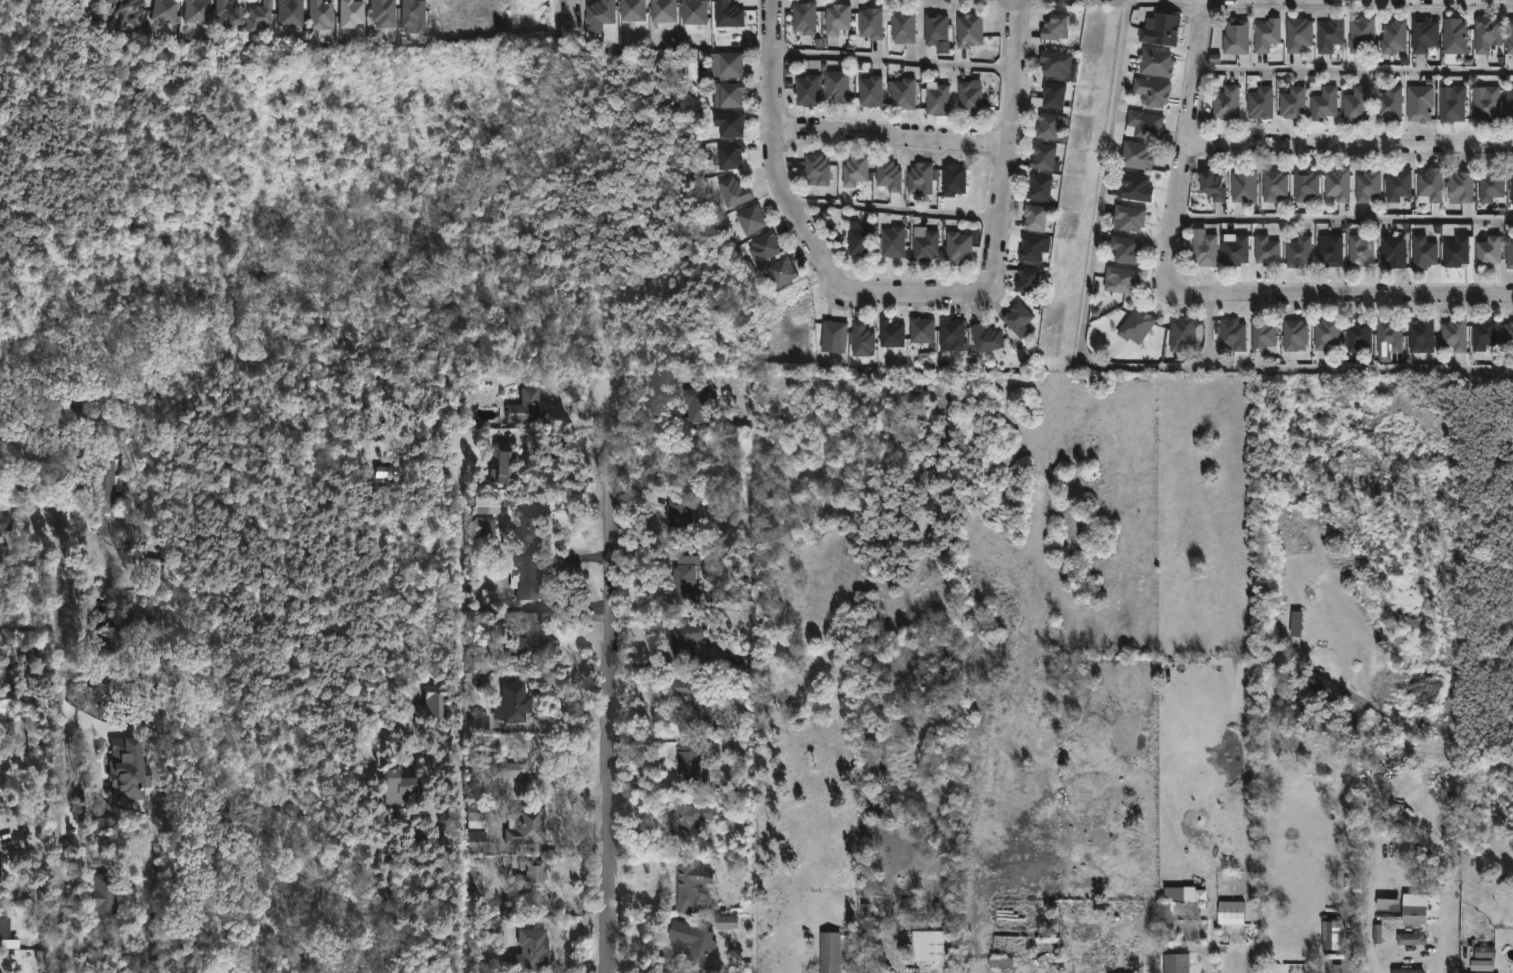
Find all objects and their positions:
building: (100, 1)
building: (115, 1)
building: (380, 10)
building: (632, 10)
building: (662, 10)
building: (201, 11)
building: (169, 12)
building: (291, 12)
building: (600, 12)
building: (693, 12)
building: (135, 13)
building: (233, 13)
building: (348, 13)
road: (571, 13)
building: (319, 15)
building: (412, 15)
building: (728, 15)
building: (264, 17)
building: (803, 18)
building: (837, 19)
building: (870, 24)
building: (903, 28)
building: (935, 28)
building: (1054, 28)
building: (1160, 30)
building: (968, 31)
building: (1487, 34)
building: (1266, 35)
building: (1298, 35)
building: (1361, 35)
building: (1424, 35)
building: (1330, 36)
building: (1235, 37)
building: (1455, 37)
building: (1510, 37)
building: (1394, 38)
road: (892, 60)
building: (1156, 63)
building: (1054, 64)
building: (727, 65)
road: (1356, 70)
building: (836, 87)
building: (806, 92)
building: (871, 92)
building: (1152, 92)
building: (727, 93)
building: (903, 94)
building: (1053, 95)
building: (969, 99)
building: (937, 101)
building: (1261, 103)
building: (1293, 103)
building: (1226, 104)
building: (1323, 104)
building: (1420, 104)
building: (1487, 104)
building: (1389, 105)
building: (1357, 106)
building: (1454, 106)
building: (1509, 106)
building: (1143, 124)
building: (730, 125)
building: (1048, 127)
road: (891, 137)
road: (1191, 146)
road: (1009, 148)
road: (1351, 151)
building: (1137, 156)
building: (729, 157)
building: (1043, 157)
building: (816, 171)
building: (854, 172)
building: (888, 176)
building: (919, 178)
building: (953, 181)
building: (1338, 185)
building: (1431, 185)
building: (1212, 186)
building: (1273, 186)
building: (1305, 186)
building: (1368, 186)
building: (1399, 186)
building: (1244, 187)
building: (1462, 187)
building: (1492, 187)
building: (1039, 188)
building: (1134, 188)
building: (1511, 191)
building: (731, 192)
road: (891, 211)
building: (1129, 217)
road: (1346, 218)
building: (750, 219)
building: (1034, 219)
road: (793, 223)
building: (860, 241)
building: (891, 243)
building: (765, 246)
building: (925, 247)
building: (959, 249)
building: (1031, 250)
building: (1267, 250)
building: (1125, 251)
building: (1331, 251)
building: (1205, 252)
building: (1236, 252)
building: (1299, 252)
building: (1360, 252)
building: (1393, 252)
building: (1456, 252)
building: (1489, 252)
building: (1424, 254)
building: (1509, 254)
building: (780, 272)
building: (1027, 281)
building: (1121, 281)
road: (1343, 302)
building: (1017, 318)
building: (1136, 326)
building: (922, 331)
building: (1182, 333)
building: (1327, 333)
building: (1423, 333)
building: (953, 334)
building: (1233, 334)
building: (1263, 334)
building: (1294, 334)
building: (1455, 334)
building: (1484, 334)
building: (1509, 334)
building: (834, 335)
building: (891, 335)
road: (1208, 335)
building: (1359, 335)
building: (1389, 336)
building: (985, 338)
building: (862, 340)
road: (1115, 368)
building: (697, 403)
building: (520, 405)
building: (497, 466)
road: (565, 479)
building: (107, 483)
building: (487, 505)
road: (563, 507)
building: (678, 509)
building: (6, 522)
building: (482, 526)
building: (526, 527)
building: (683, 574)
building: (525, 576)
building: (490, 595)
building: (128, 617)
building: (1296, 624)
road: (31, 627)
building: (111, 639)
building: (682, 640)
building: (527, 641)
building: (1319, 684)
road: (615, 685)
building: (693, 699)
building: (430, 700)
building: (511, 703)
building: (12, 706)
building: (476, 722)
road: (90, 748)
road: (63, 757)
building: (689, 761)
building: (129, 770)
building: (506, 771)
building: (2, 786)
building: (398, 787)
building: (473, 814)
building: (687, 818)
building: (527, 825)
building: (0, 837)
building: (472, 842)
building: (1, 866)
building: (530, 874)
building: (471, 883)
building: (689, 887)
building: (1185, 895)
building: (109, 896)
road: (389, 896)
building: (1389, 905)
building: (1172, 911)
building: (1230, 913)
building: (1414, 915)
building: (1390, 917)
building: (1165, 922)
building: (727, 923)
building: (5, 928)
building: (1332, 936)
building: (1411, 939)
building: (693, 942)
building: (933, 947)
building: (527, 951)
building: (829, 952)
building: (1484, 953)
building: (1119, 957)
building: (1000, 962)
building: (1176, 964)
building: (212, 971)
road: (941, 971)
building: (1407, 971)
building: (226, 972)

